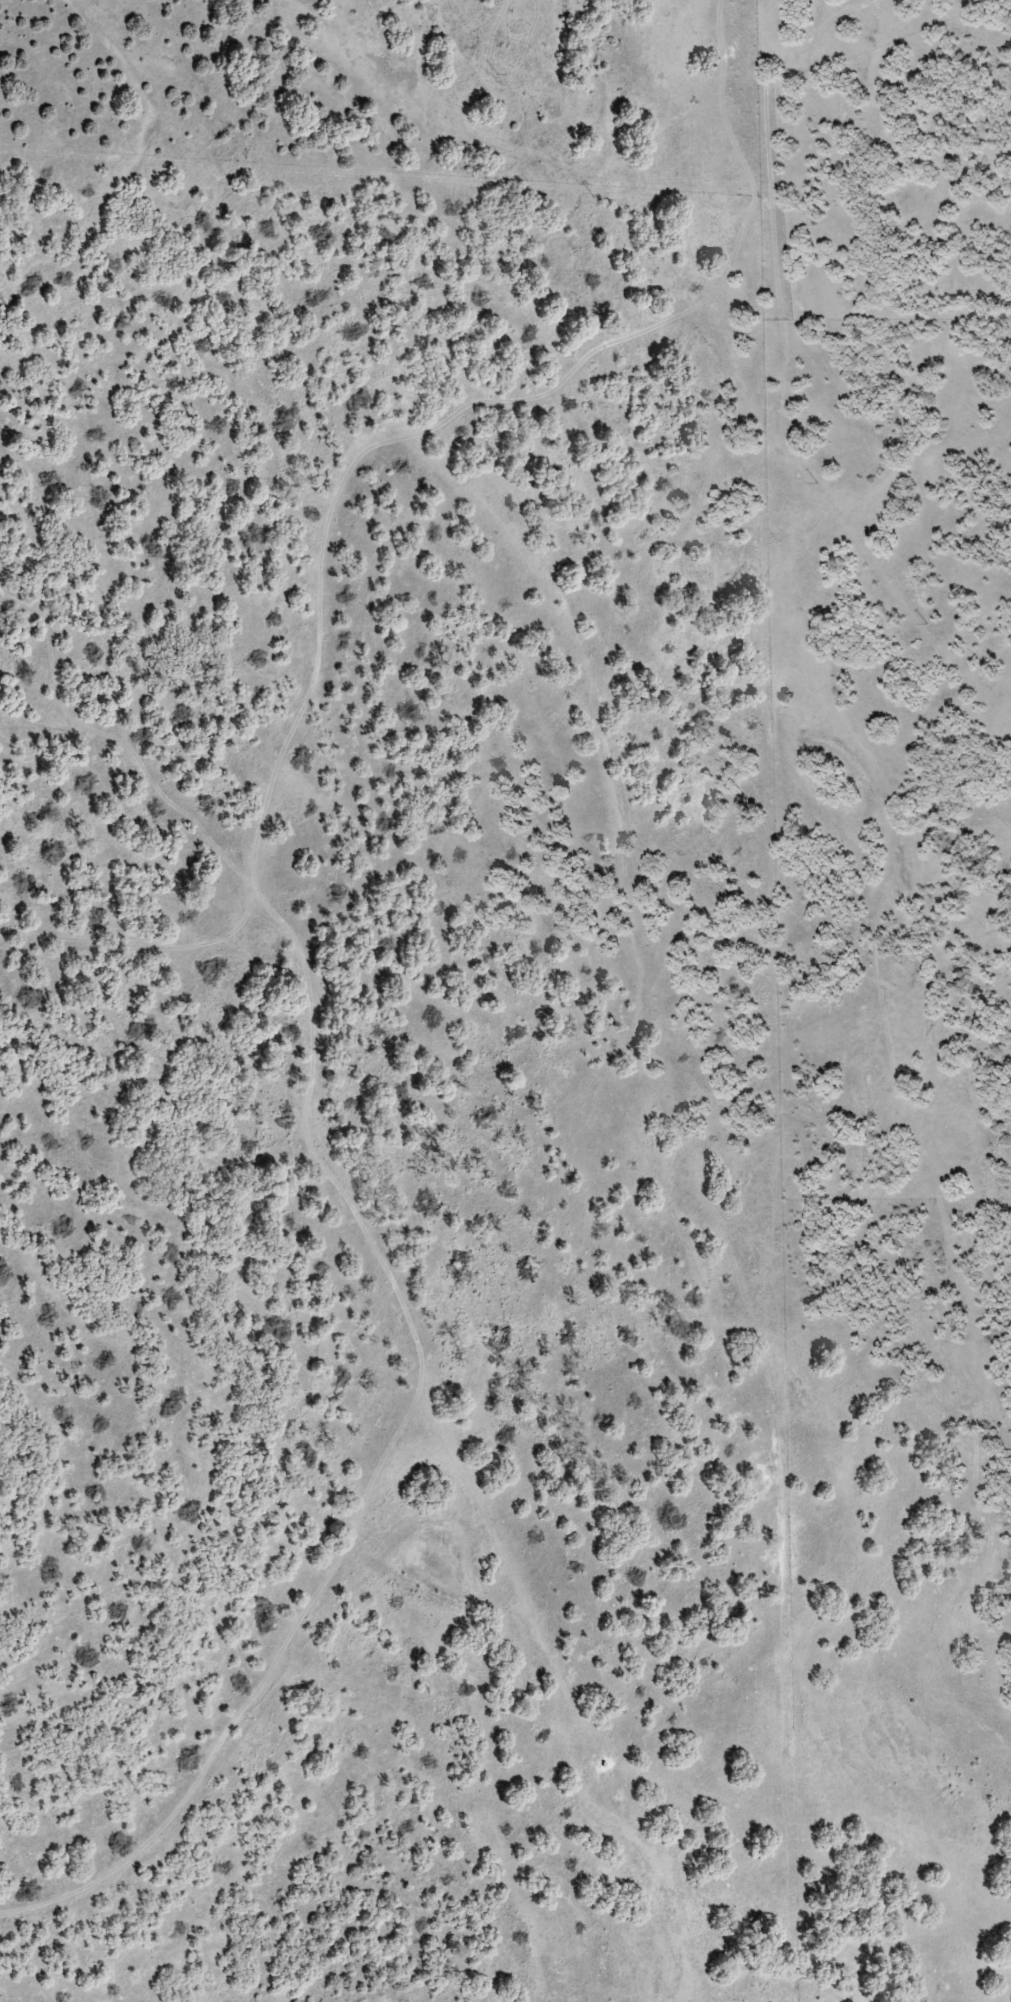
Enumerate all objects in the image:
road: (941, 842)
road: (896, 1039)

